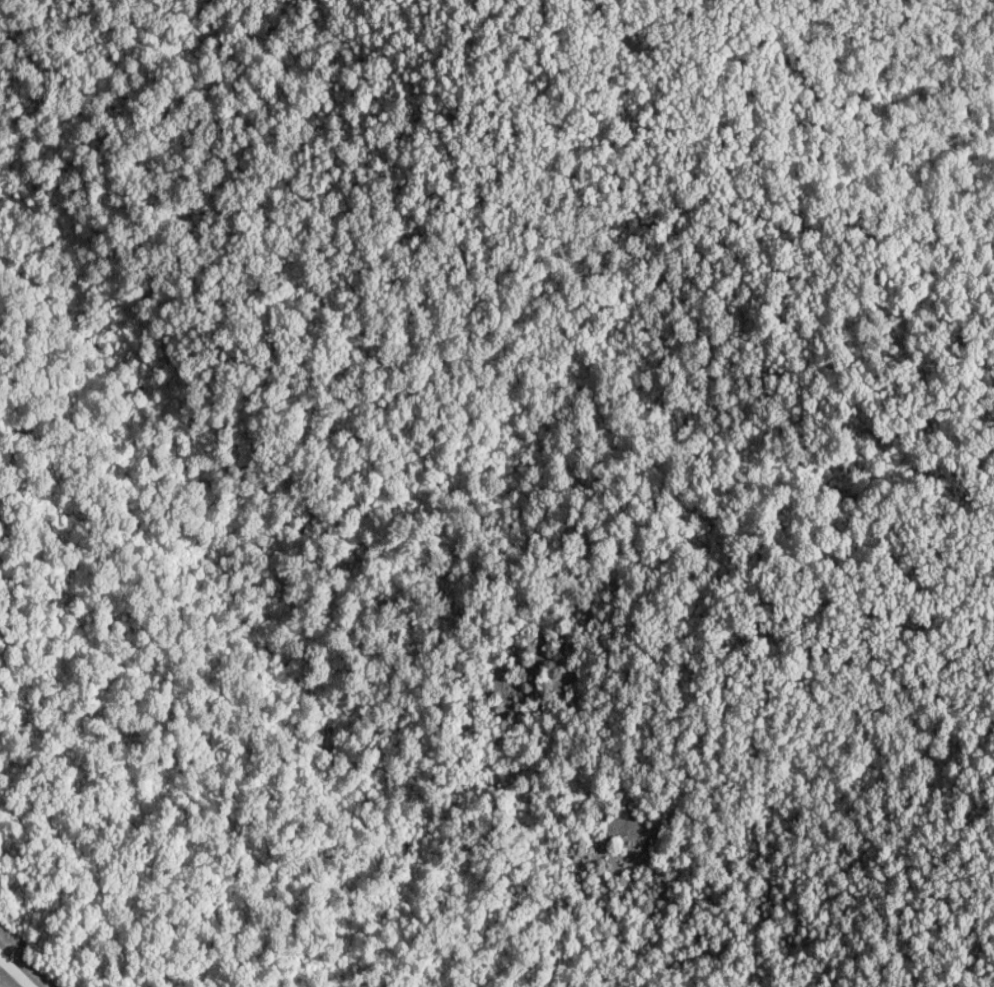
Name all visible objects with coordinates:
road: (19, 965)

